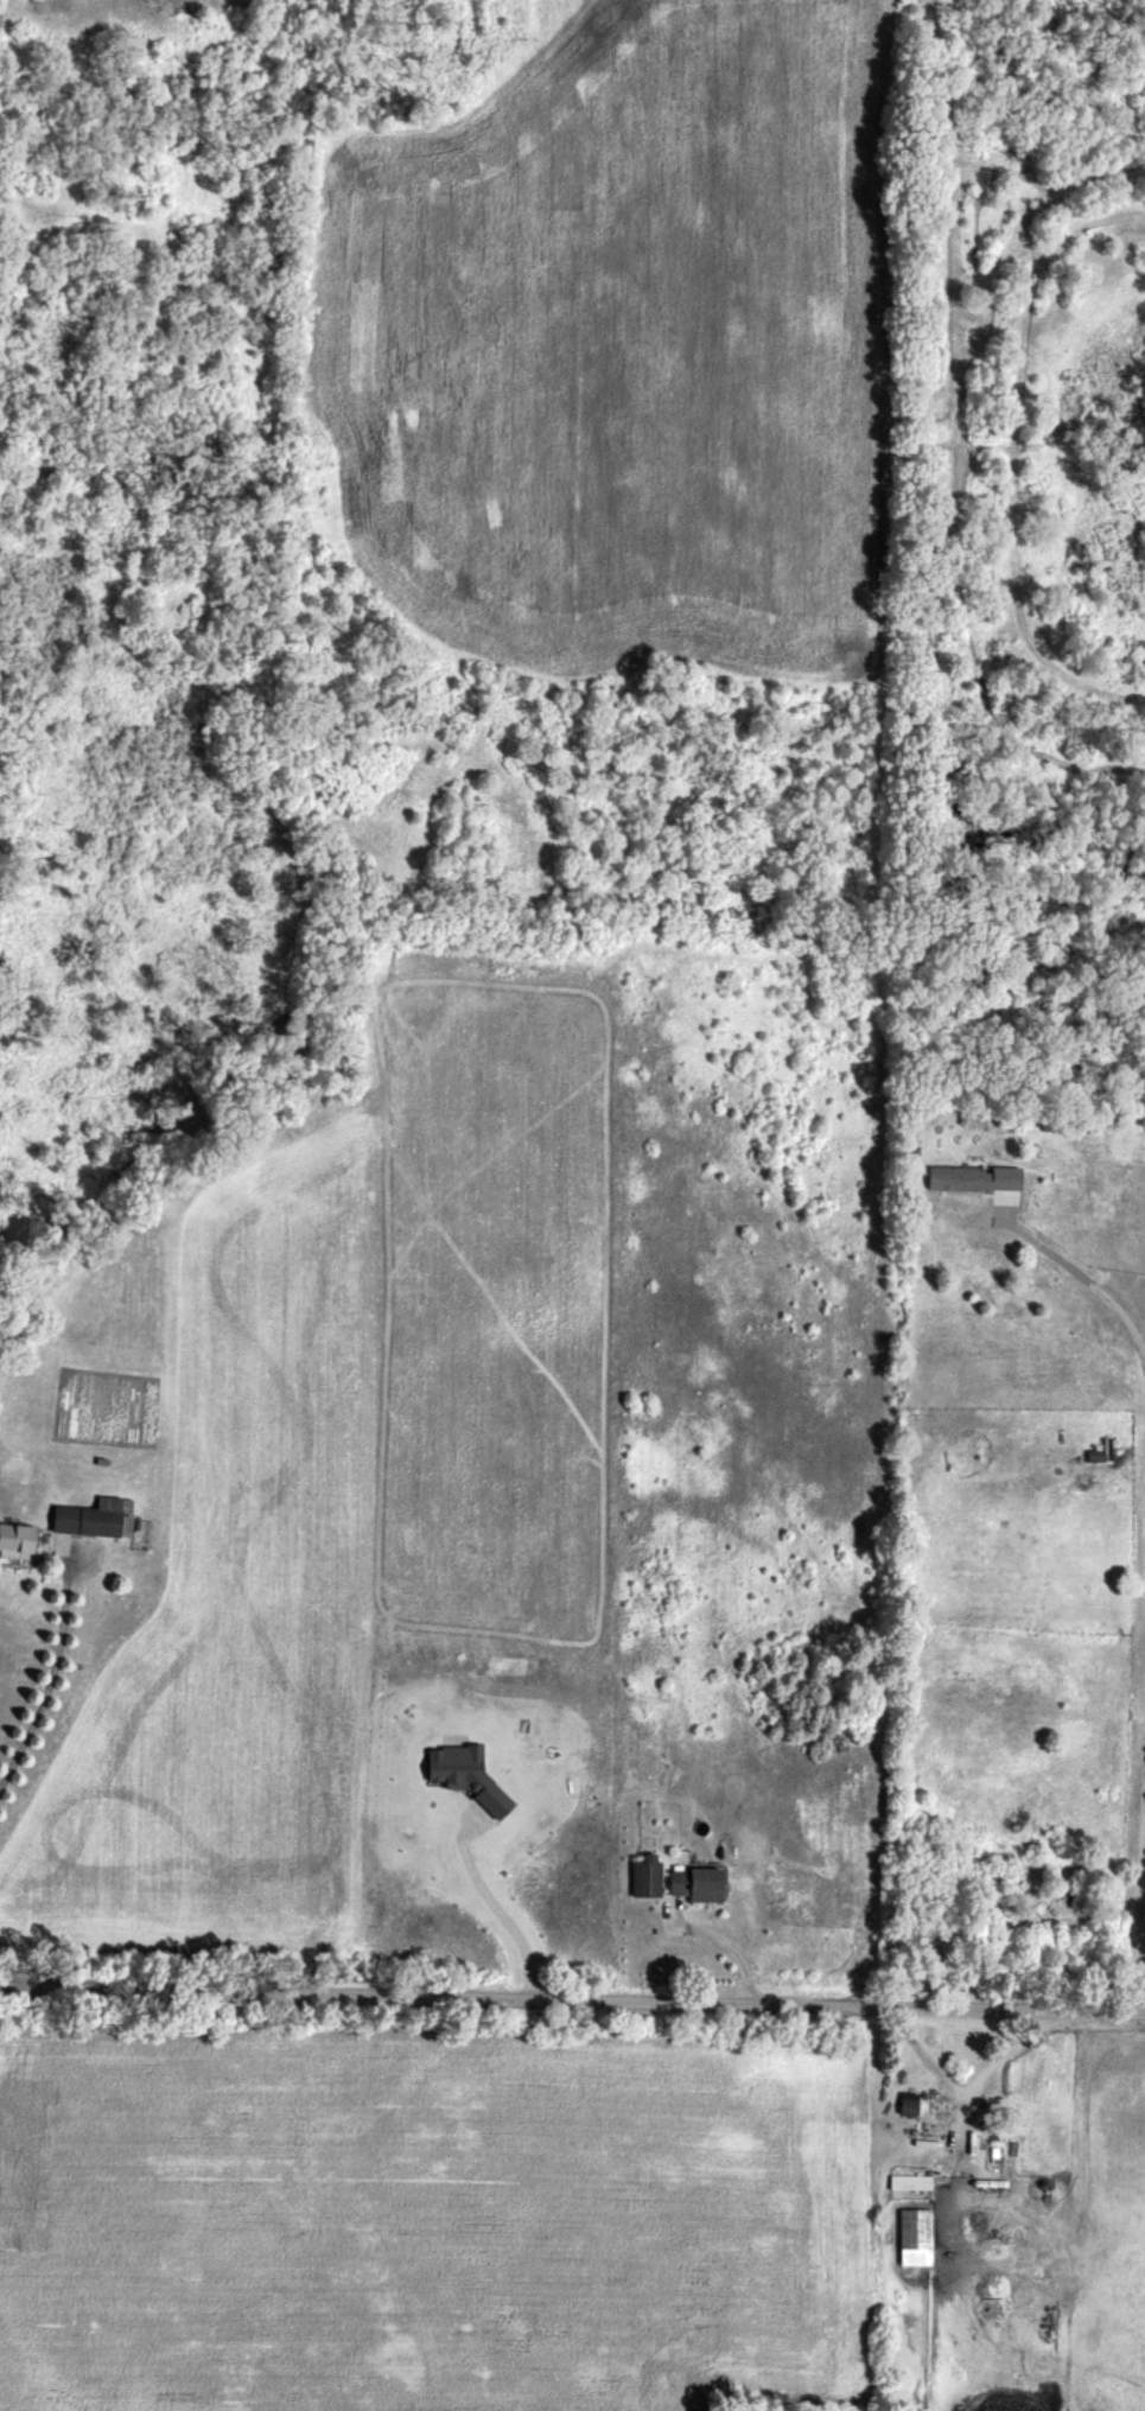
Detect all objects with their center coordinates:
building: (948, 1178)
road: (1080, 1277)
building: (91, 1518)
building: (19, 1540)
road: (43, 1678)
road: (1143, 1805)
building: (648, 1876)
building: (702, 1884)
road: (488, 1906)
road: (713, 1949)
road: (572, 1998)
building: (973, 2139)
building: (911, 2182)
building: (916, 2238)

